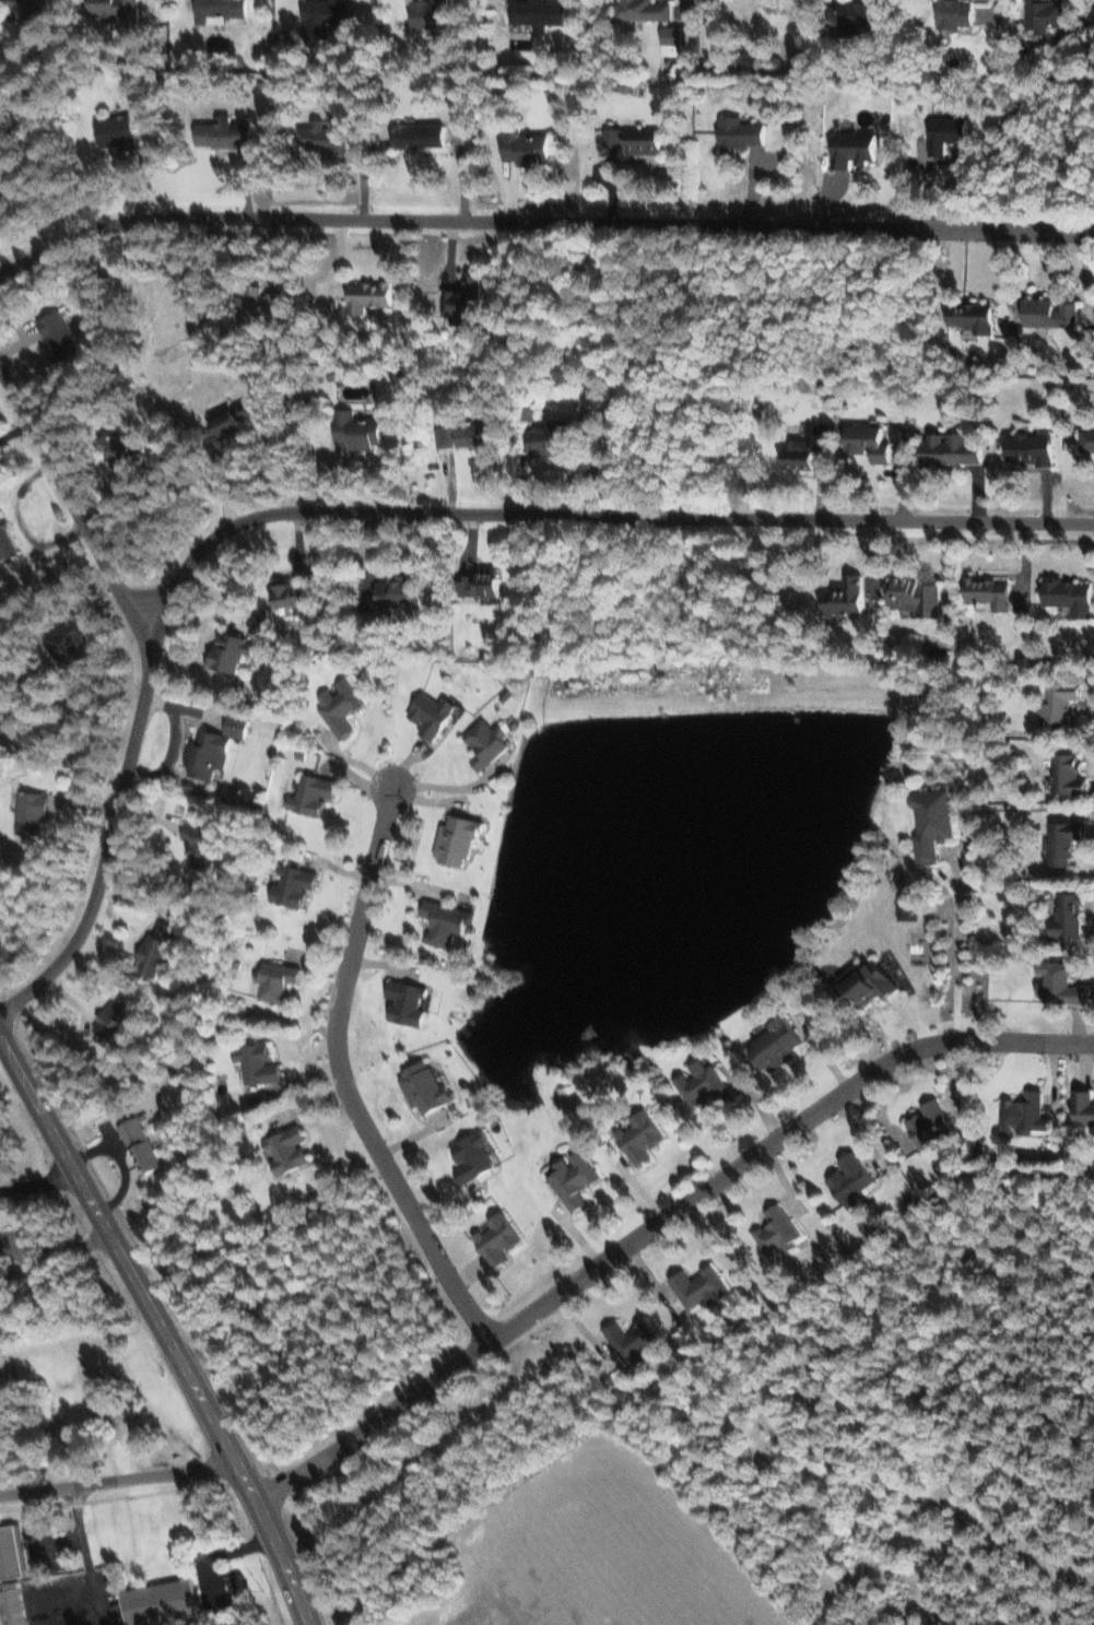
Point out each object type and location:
building: (27, 8)
building: (221, 8)
building: (645, 9)
building: (120, 11)
building: (541, 12)
building: (431, 13)
building: (958, 13)
building: (1046, 14)
building: (327, 15)
building: (859, 17)
building: (675, 38)
building: (119, 131)
building: (226, 132)
building: (742, 132)
building: (948, 132)
building: (422, 134)
building: (324, 137)
building: (636, 139)
building: (527, 145)
building: (855, 148)
building: (2, 187)
road: (541, 229)
building: (370, 294)
building: (466, 298)
building: (259, 304)
building: (1054, 313)
building: (974, 316)
building: (62, 338)
building: (234, 419)
building: (361, 429)
building: (468, 435)
building: (553, 437)
building: (1090, 439)
building: (873, 441)
building: (1034, 448)
building: (953, 449)
building: (126, 451)
building: (803, 454)
road: (78, 516)
road: (384, 520)
building: (7, 541)
building: (483, 581)
building: (992, 591)
building: (295, 594)
building: (398, 594)
building: (917, 594)
building: (847, 596)
building: (1073, 596)
building: (73, 645)
building: (234, 651)
building: (1062, 700)
building: (341, 706)
building: (433, 715)
building: (487, 742)
building: (215, 747)
building: (1071, 775)
building: (314, 794)
building: (33, 811)
building: (934, 822)
building: (458, 839)
building: (1067, 841)
building: (201, 844)
building: (295, 885)
building: (910, 906)
building: (1071, 916)
building: (447, 921)
building: (156, 950)
road: (956, 952)
building: (277, 980)
building: (871, 981)
building: (1061, 984)
building: (408, 1002)
building: (117, 1017)
building: (779, 1045)
building: (259, 1063)
road: (343, 1083)
building: (706, 1084)
building: (426, 1088)
building: (1085, 1106)
building: (1026, 1115)
building: (932, 1124)
building: (644, 1138)
building: (141, 1145)
building: (289, 1150)
building: (474, 1156)
building: (576, 1179)
building: (854, 1180)
road: (660, 1232)
building: (780, 1232)
building: (499, 1239)
road: (58, 1241)
building: (703, 1287)
road: (164, 1328)
building: (635, 1341)
road: (117, 1477)
road: (80, 1526)
road: (52, 1538)
building: (12, 1552)
airport: (577, 1557)
road: (46, 1590)
road: (94, 1597)
building: (162, 1601)
building: (17, 1602)
road: (91, 1624)

